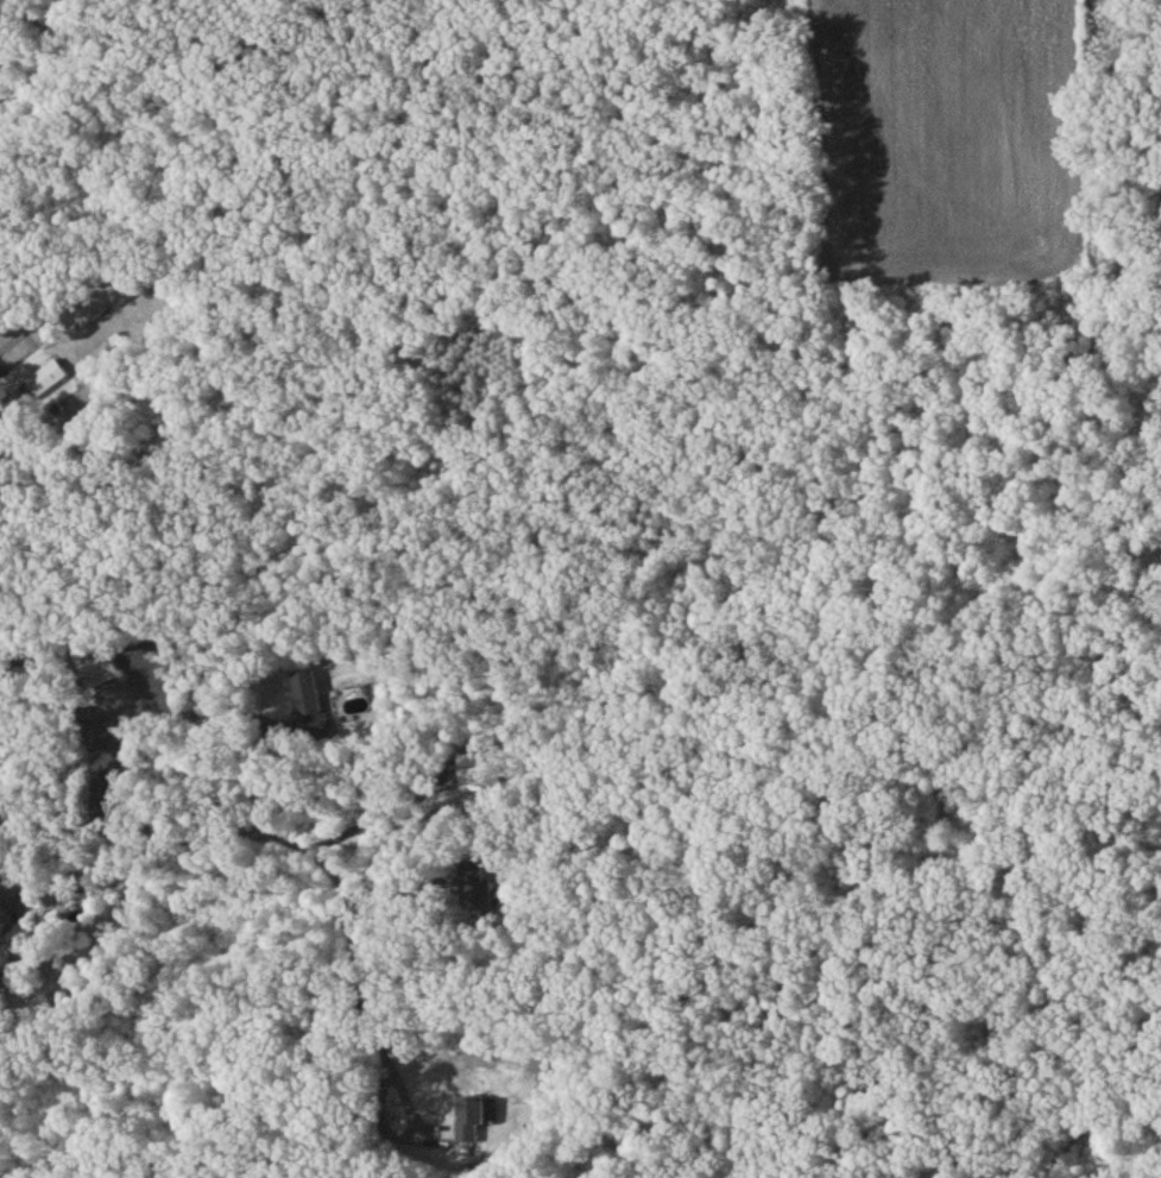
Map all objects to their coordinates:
building: (46, 380)
road: (466, 534)
building: (100, 674)
building: (307, 705)
road: (196, 713)
building: (481, 776)
road: (277, 832)
road: (425, 851)
building: (478, 889)
building: (20, 940)
road: (19, 972)
building: (34, 1013)
building: (469, 1123)
road: (409, 1136)

